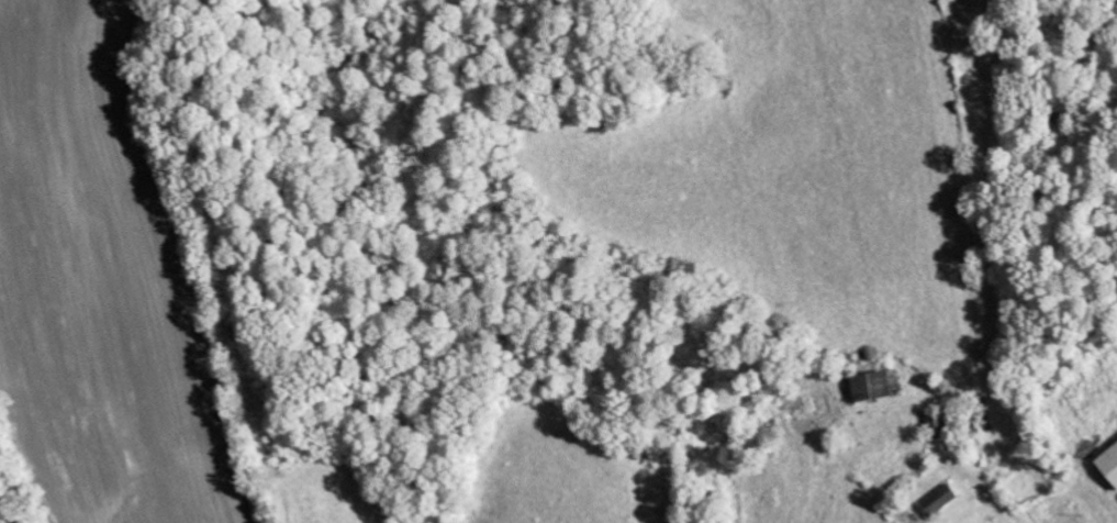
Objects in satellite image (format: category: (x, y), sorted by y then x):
building: (1106, 463)

